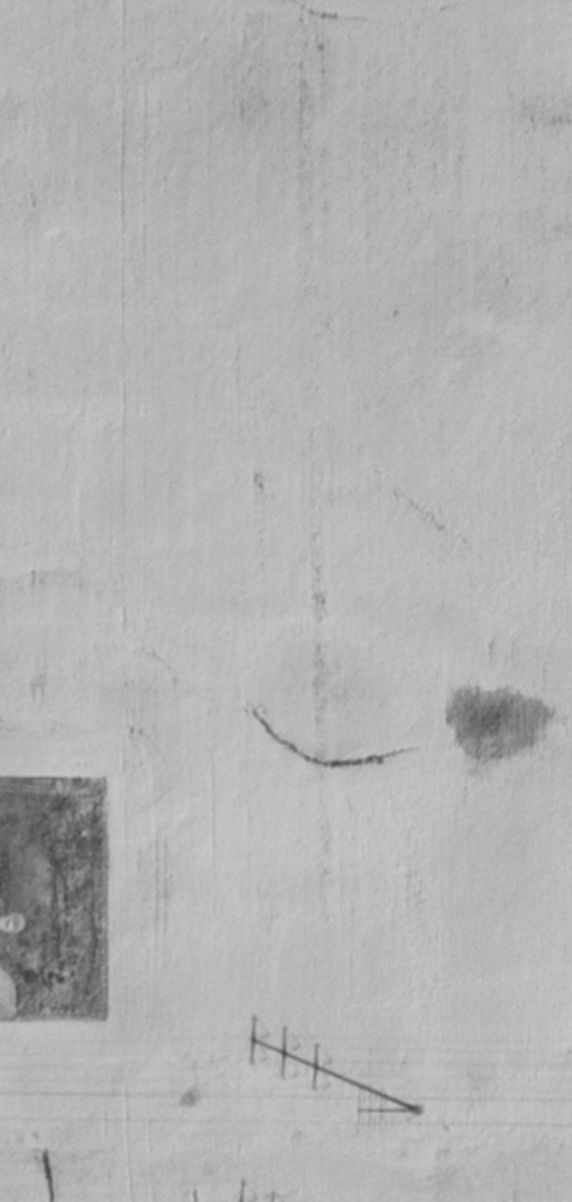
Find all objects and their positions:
power tower: (418, 1097)

